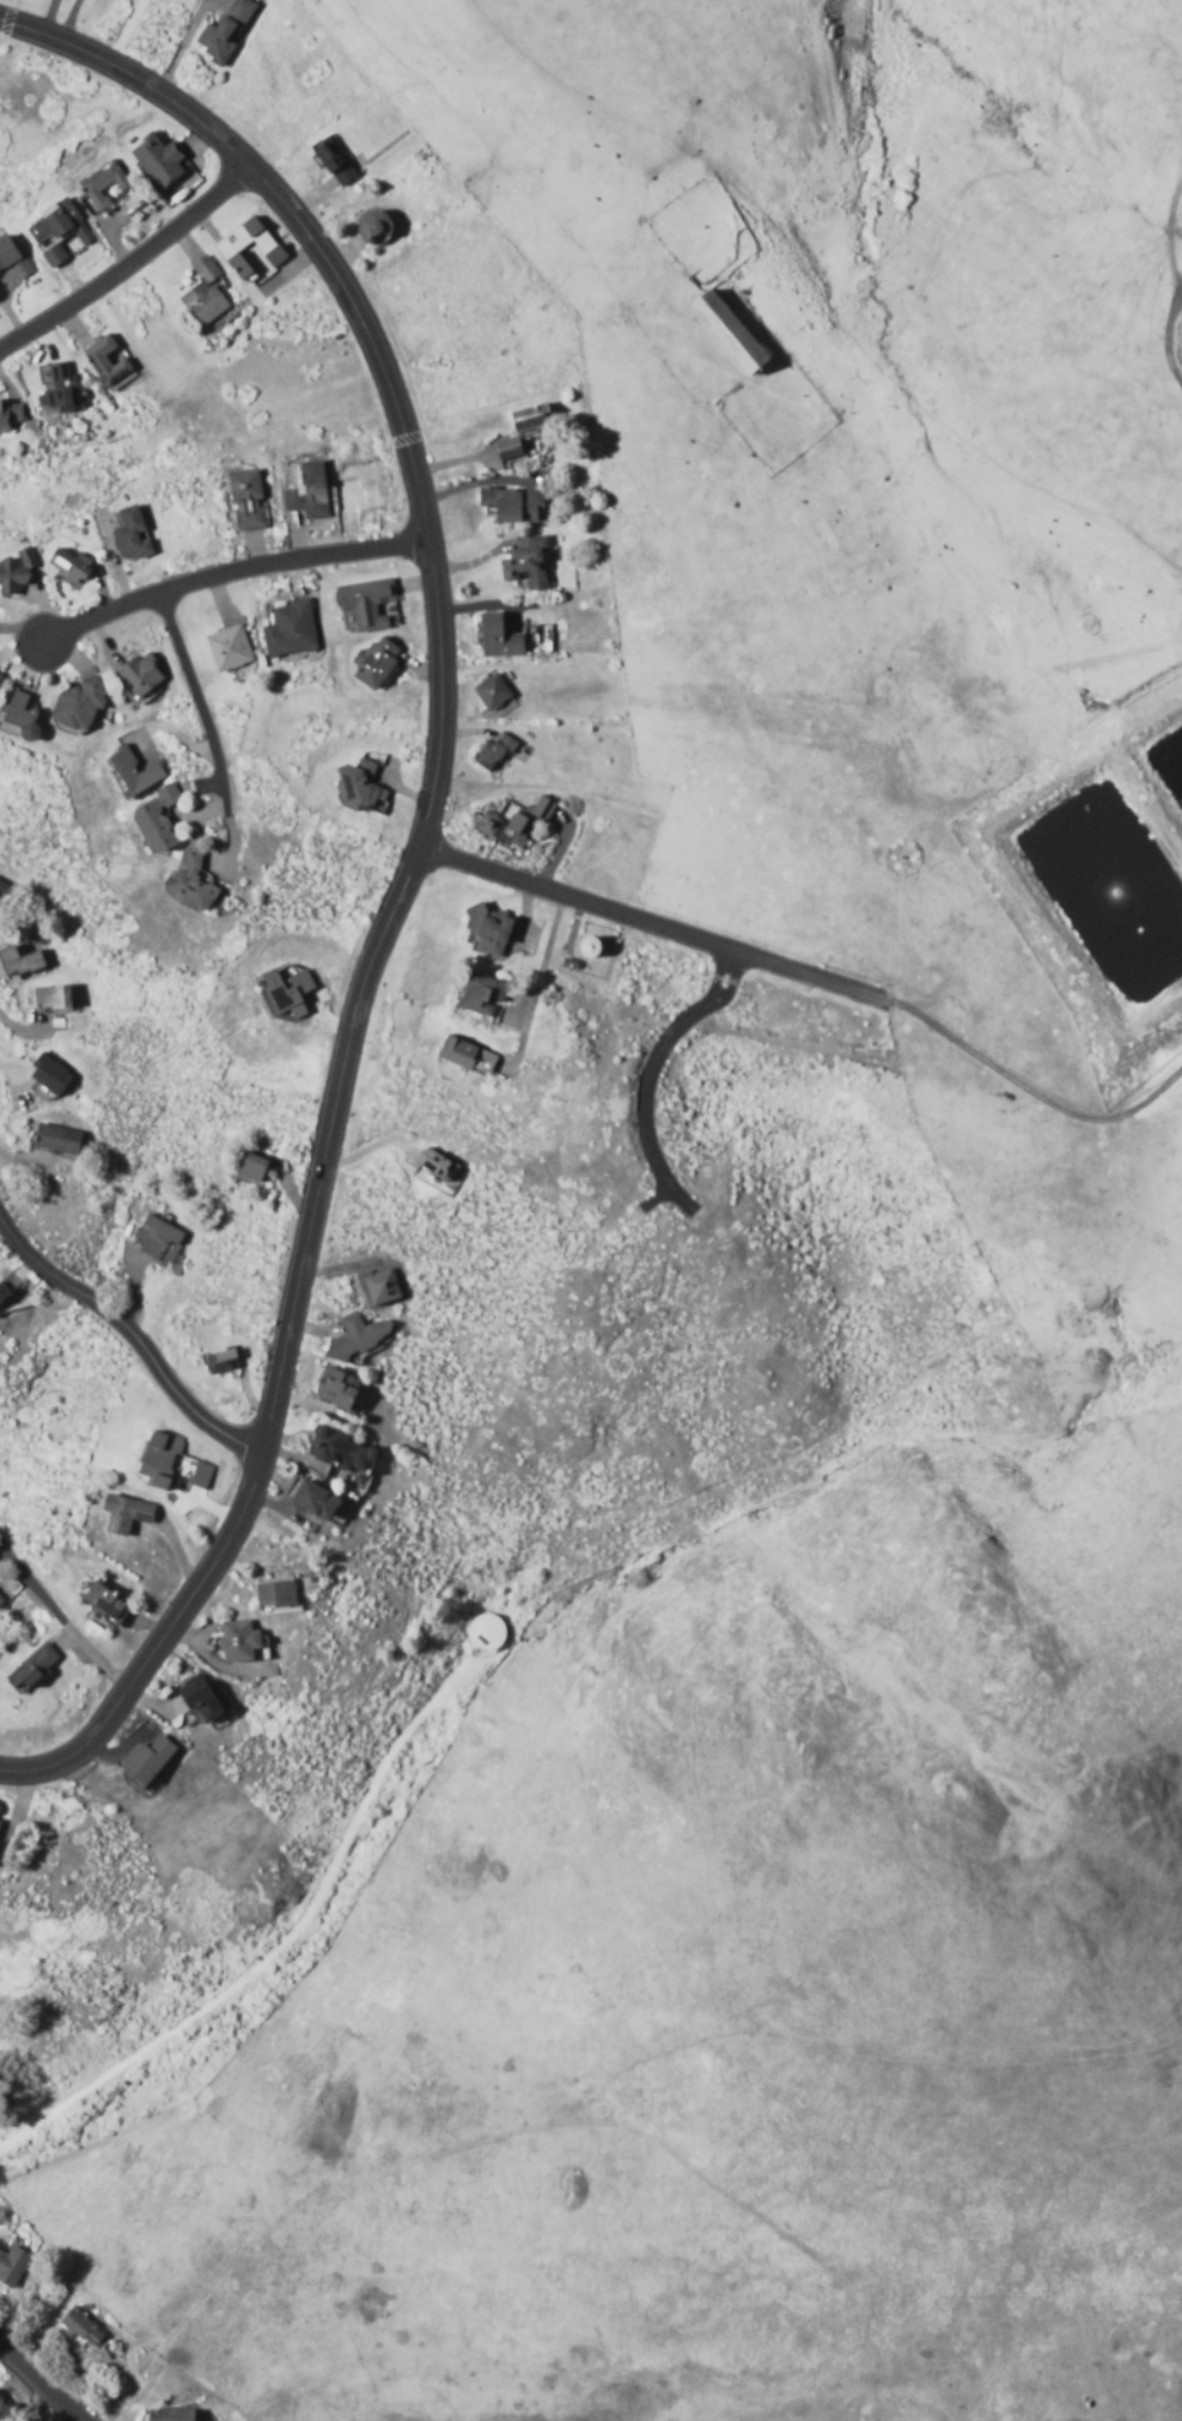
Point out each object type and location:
road: (50, 18)
road: (72, 22)
building: (227, 29)
building: (160, 161)
building: (334, 161)
building: (100, 185)
building: (379, 225)
building: (57, 232)
building: (252, 250)
building: (12, 258)
road: (130, 266)
road: (1177, 283)
building: (206, 297)
building: (106, 359)
building: (61, 390)
building: (11, 414)
building: (526, 431)
building: (309, 490)
building: (248, 500)
building: (132, 533)
building: (529, 563)
building: (16, 572)
road: (231, 572)
building: (365, 603)
building: (291, 629)
building: (501, 638)
building: (230, 647)
building: (376, 663)
building: (0, 675)
building: (144, 676)
building: (492, 693)
road: (199, 703)
building: (79, 705)
building: (494, 754)
building: (135, 761)
building: (360, 786)
road: (208, 787)
building: (157, 818)
road: (412, 866)
building: (190, 883)
building: (1, 890)
road: (652, 925)
building: (492, 929)
building: (587, 950)
building: (14, 962)
road: (715, 980)
road: (731, 989)
building: (290, 992)
building: (485, 995)
building: (47, 998)
building: (468, 1056)
building: (50, 1073)
road: (1032, 1091)
road: (644, 1108)
building: (57, 1139)
road: (654, 1200)
building: (158, 1238)
building: (384, 1286)
building: (4, 1293)
road: (133, 1335)
building: (358, 1335)
building: (223, 1360)
building: (340, 1389)
building: (337, 1449)
building: (162, 1459)
building: (199, 1475)
building: (318, 1499)
building: (126, 1513)
building: (276, 1593)
building: (0, 1602)
building: (106, 1602)
building: (485, 1633)
building: (239, 1641)
building: (36, 1666)
building: (202, 1697)
building: (148, 1760)
building: (2, 1830)
road: (278, 1945)
building: (11, 2262)
building: (85, 2329)
road: (39, 2379)
building: (172, 2415)

